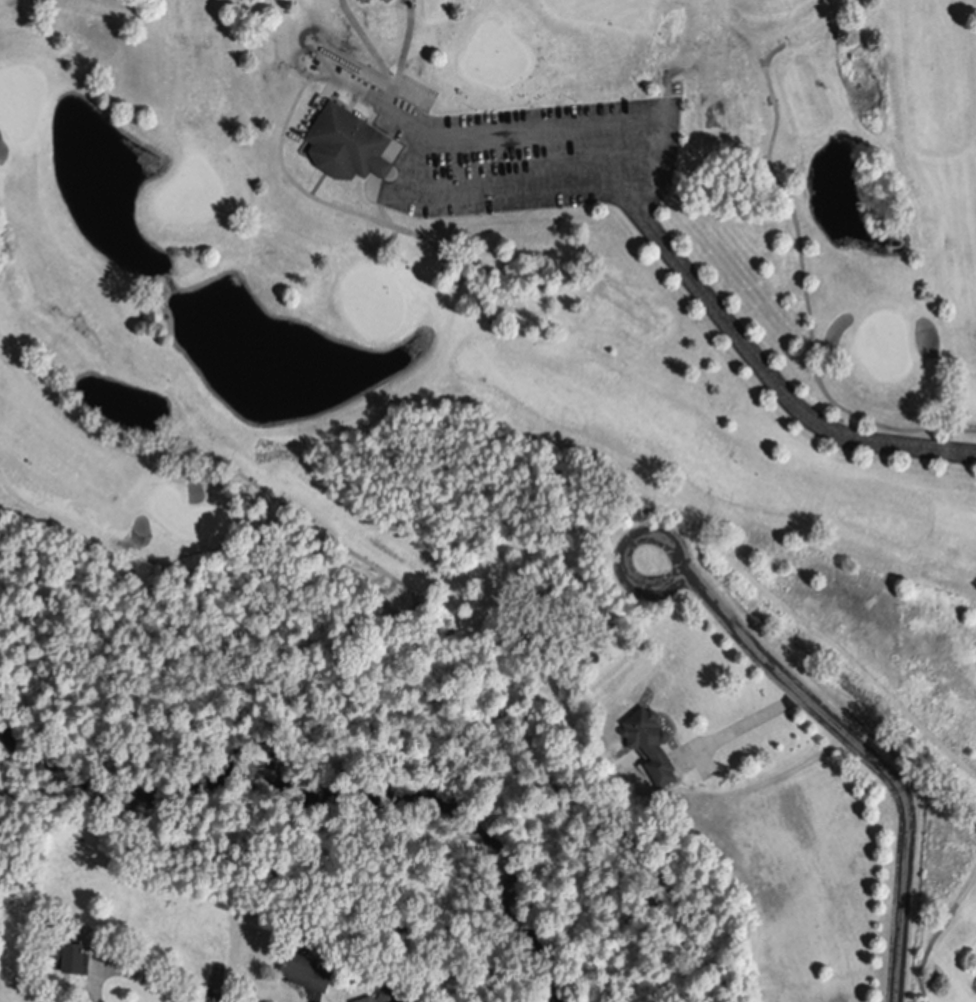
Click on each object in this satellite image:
road: (400, 127)
road: (435, 144)
building: (348, 149)
park: (516, 304)
road: (765, 373)
road: (620, 544)
building: (650, 749)
road: (868, 756)
building: (70, 948)
building: (304, 961)
road: (129, 974)
building: (380, 991)

